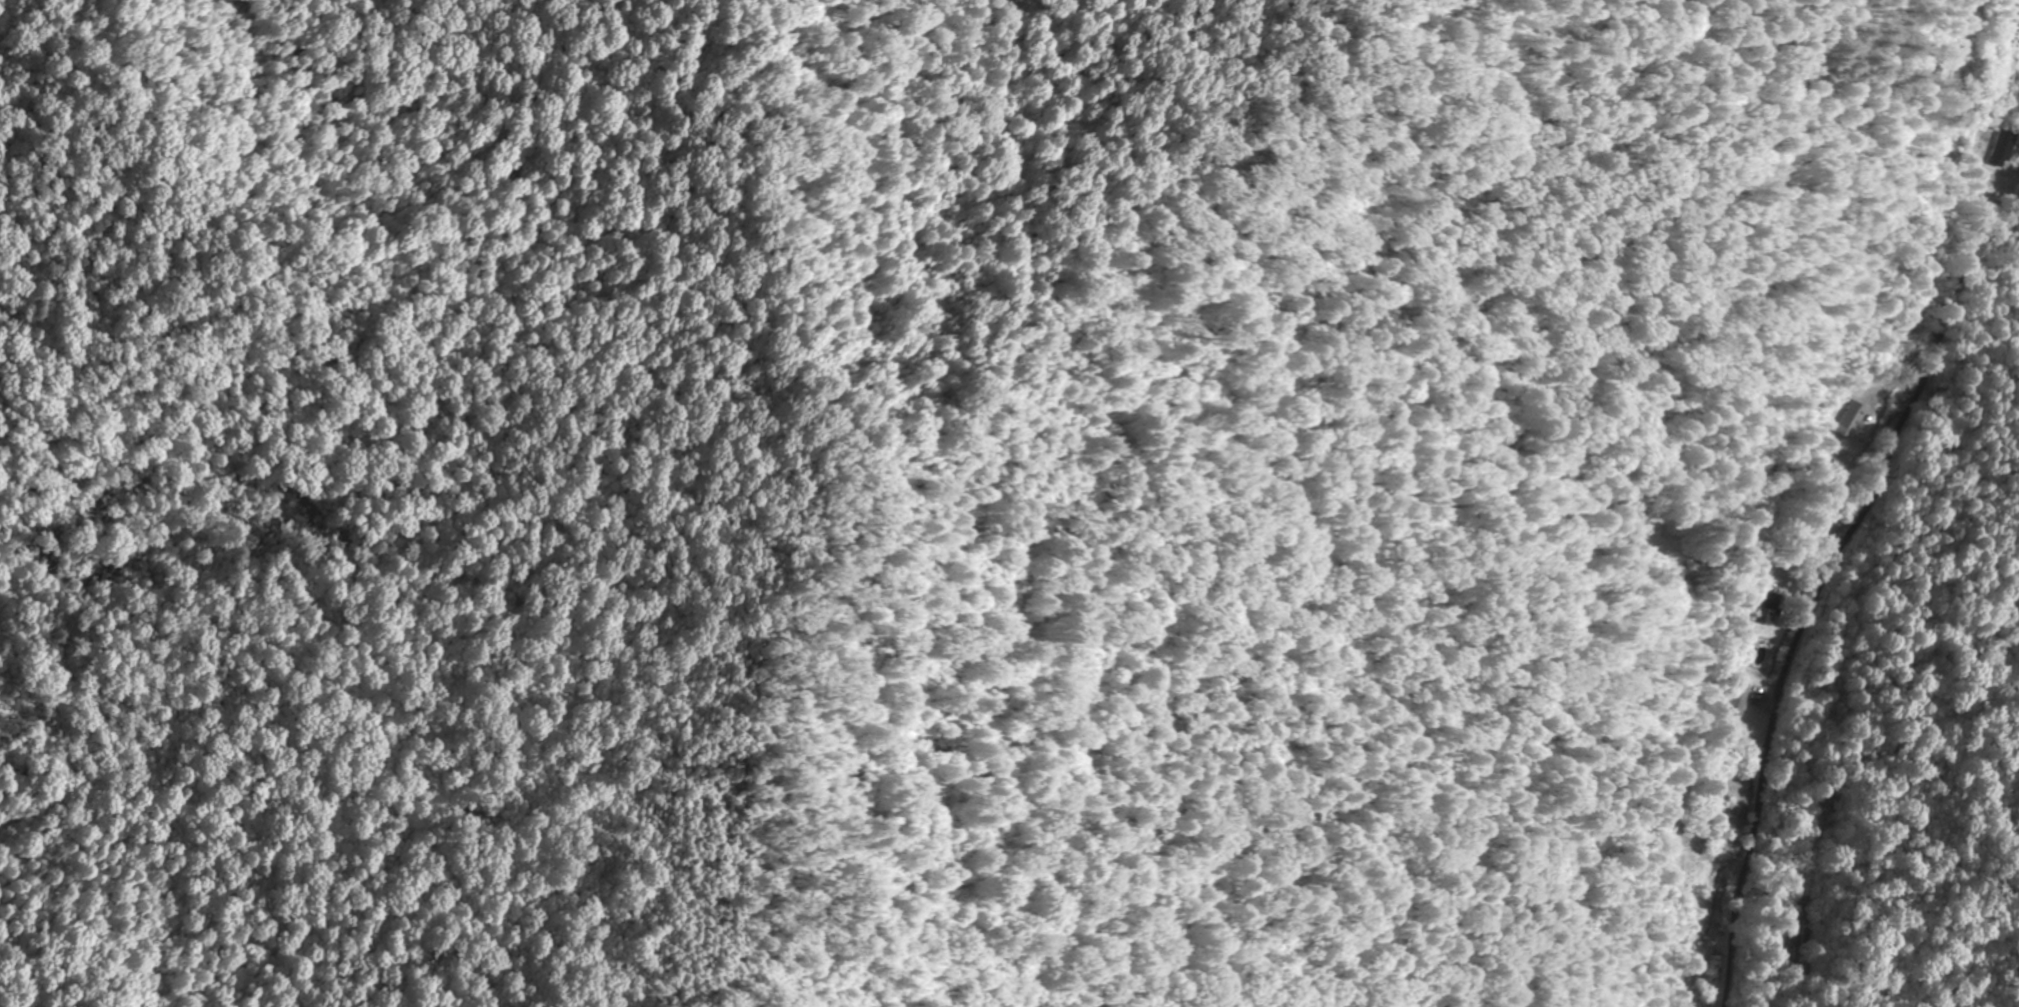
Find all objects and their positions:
building: (2005, 149)
building: (1852, 418)
road: (1822, 586)
building: (1770, 608)
building: (1740, 698)
building: (1713, 962)
building: (1685, 1004)

